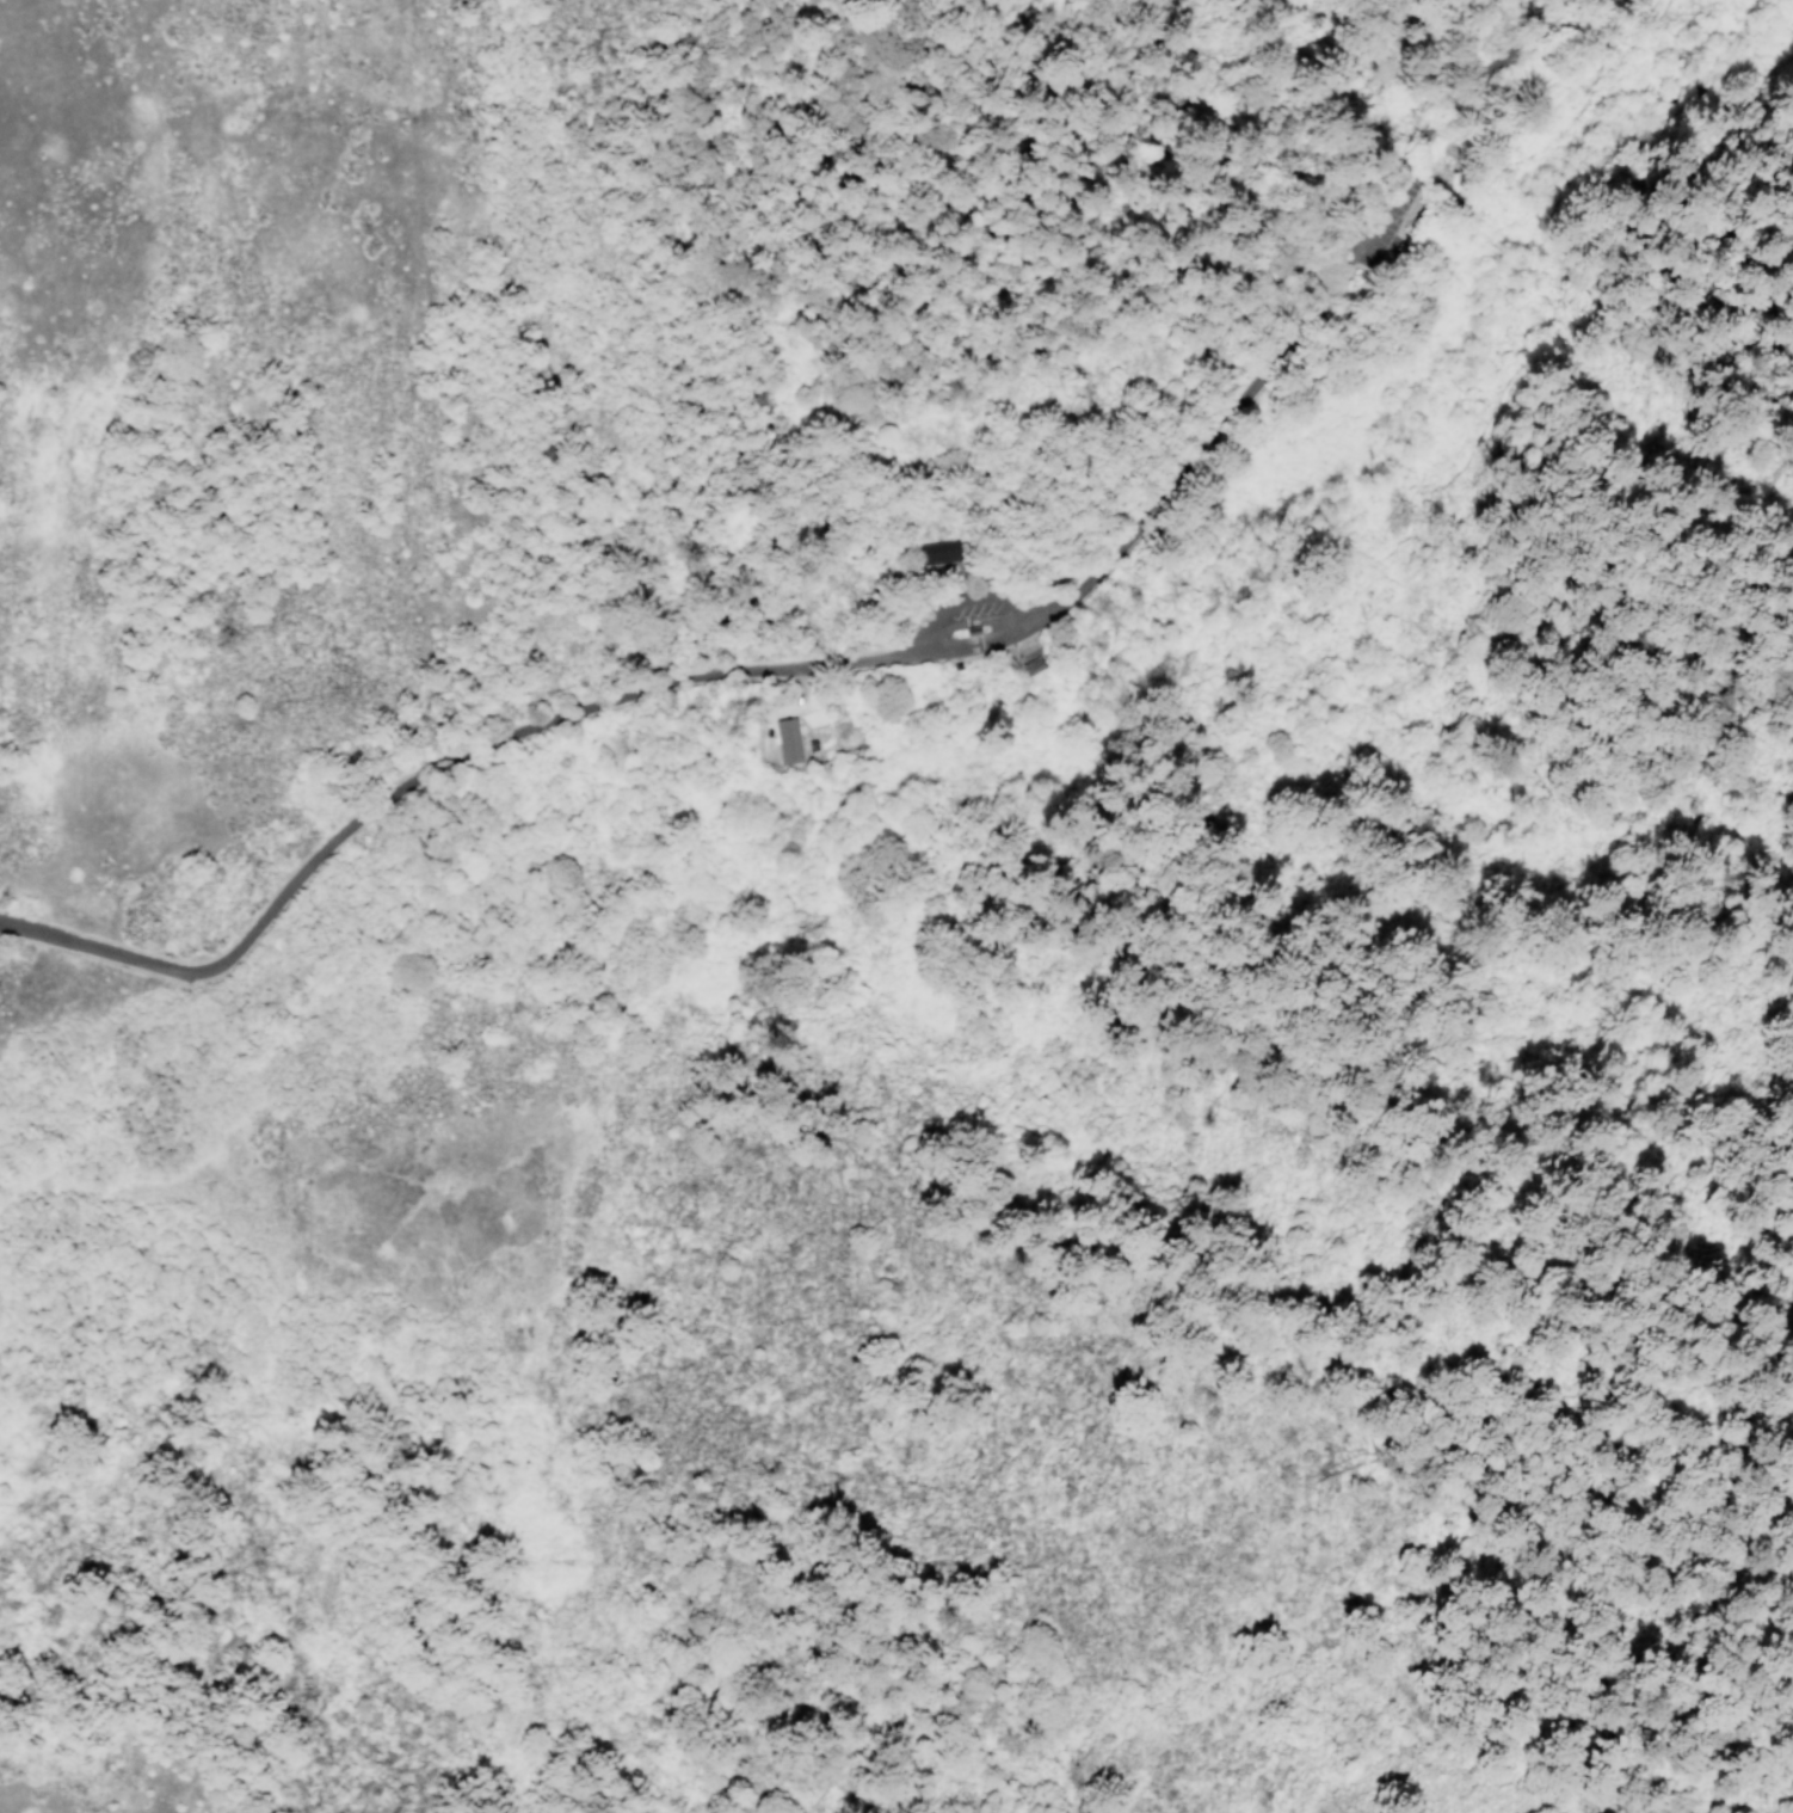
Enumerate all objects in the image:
road: (1469, 170)
parking lot: (1393, 216)
road: (1376, 293)
road: (1318, 303)
road: (751, 320)
road: (1485, 448)
building: (942, 553)
parking lot: (971, 608)
road: (979, 621)
building: (975, 629)
road: (985, 639)
toll booth: (981, 641)
road: (865, 659)
road: (386, 797)
road: (1046, 1242)
road: (1398, 1313)

